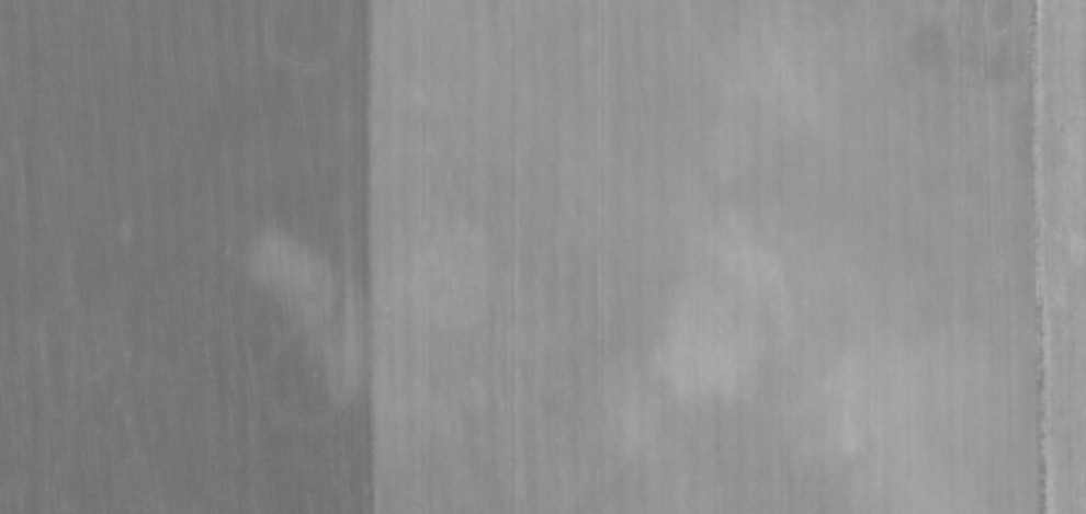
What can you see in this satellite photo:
crop: (543, 256)

